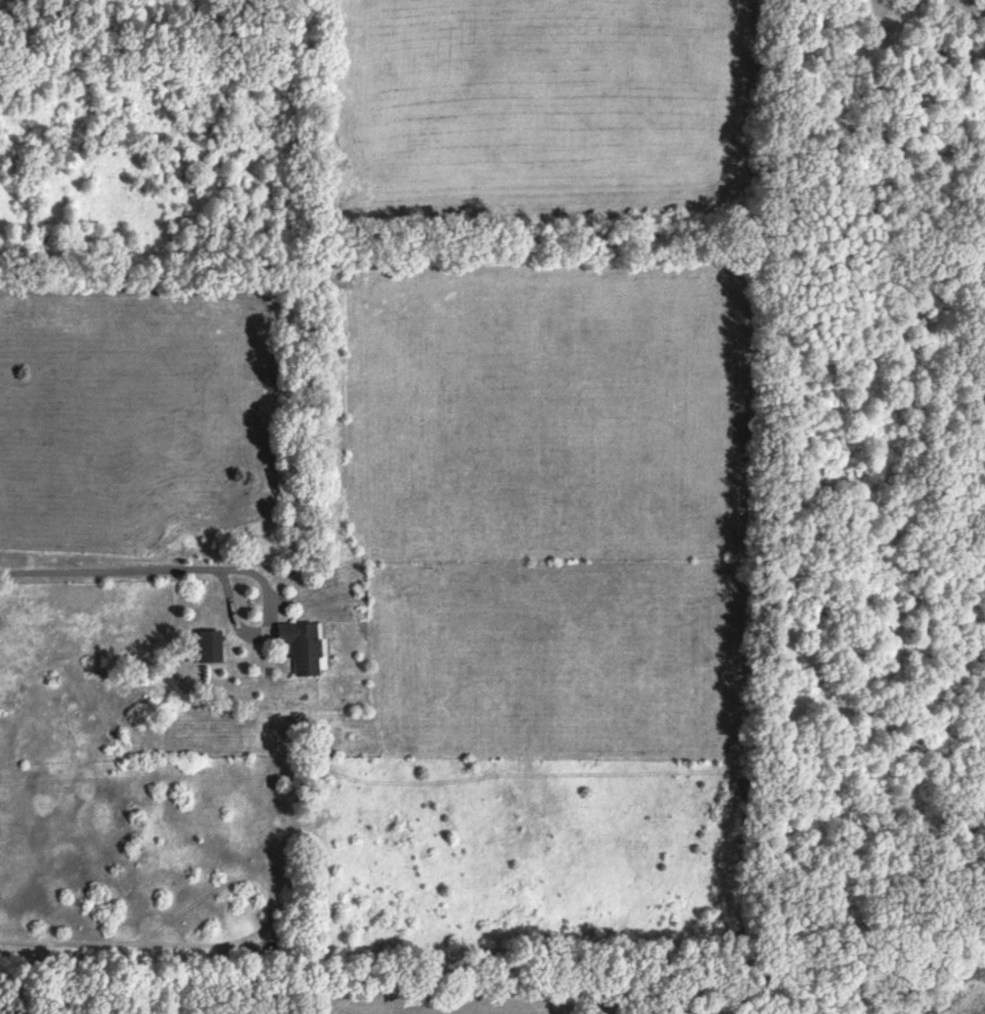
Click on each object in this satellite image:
road: (108, 572)
building: (212, 648)
building: (306, 648)

